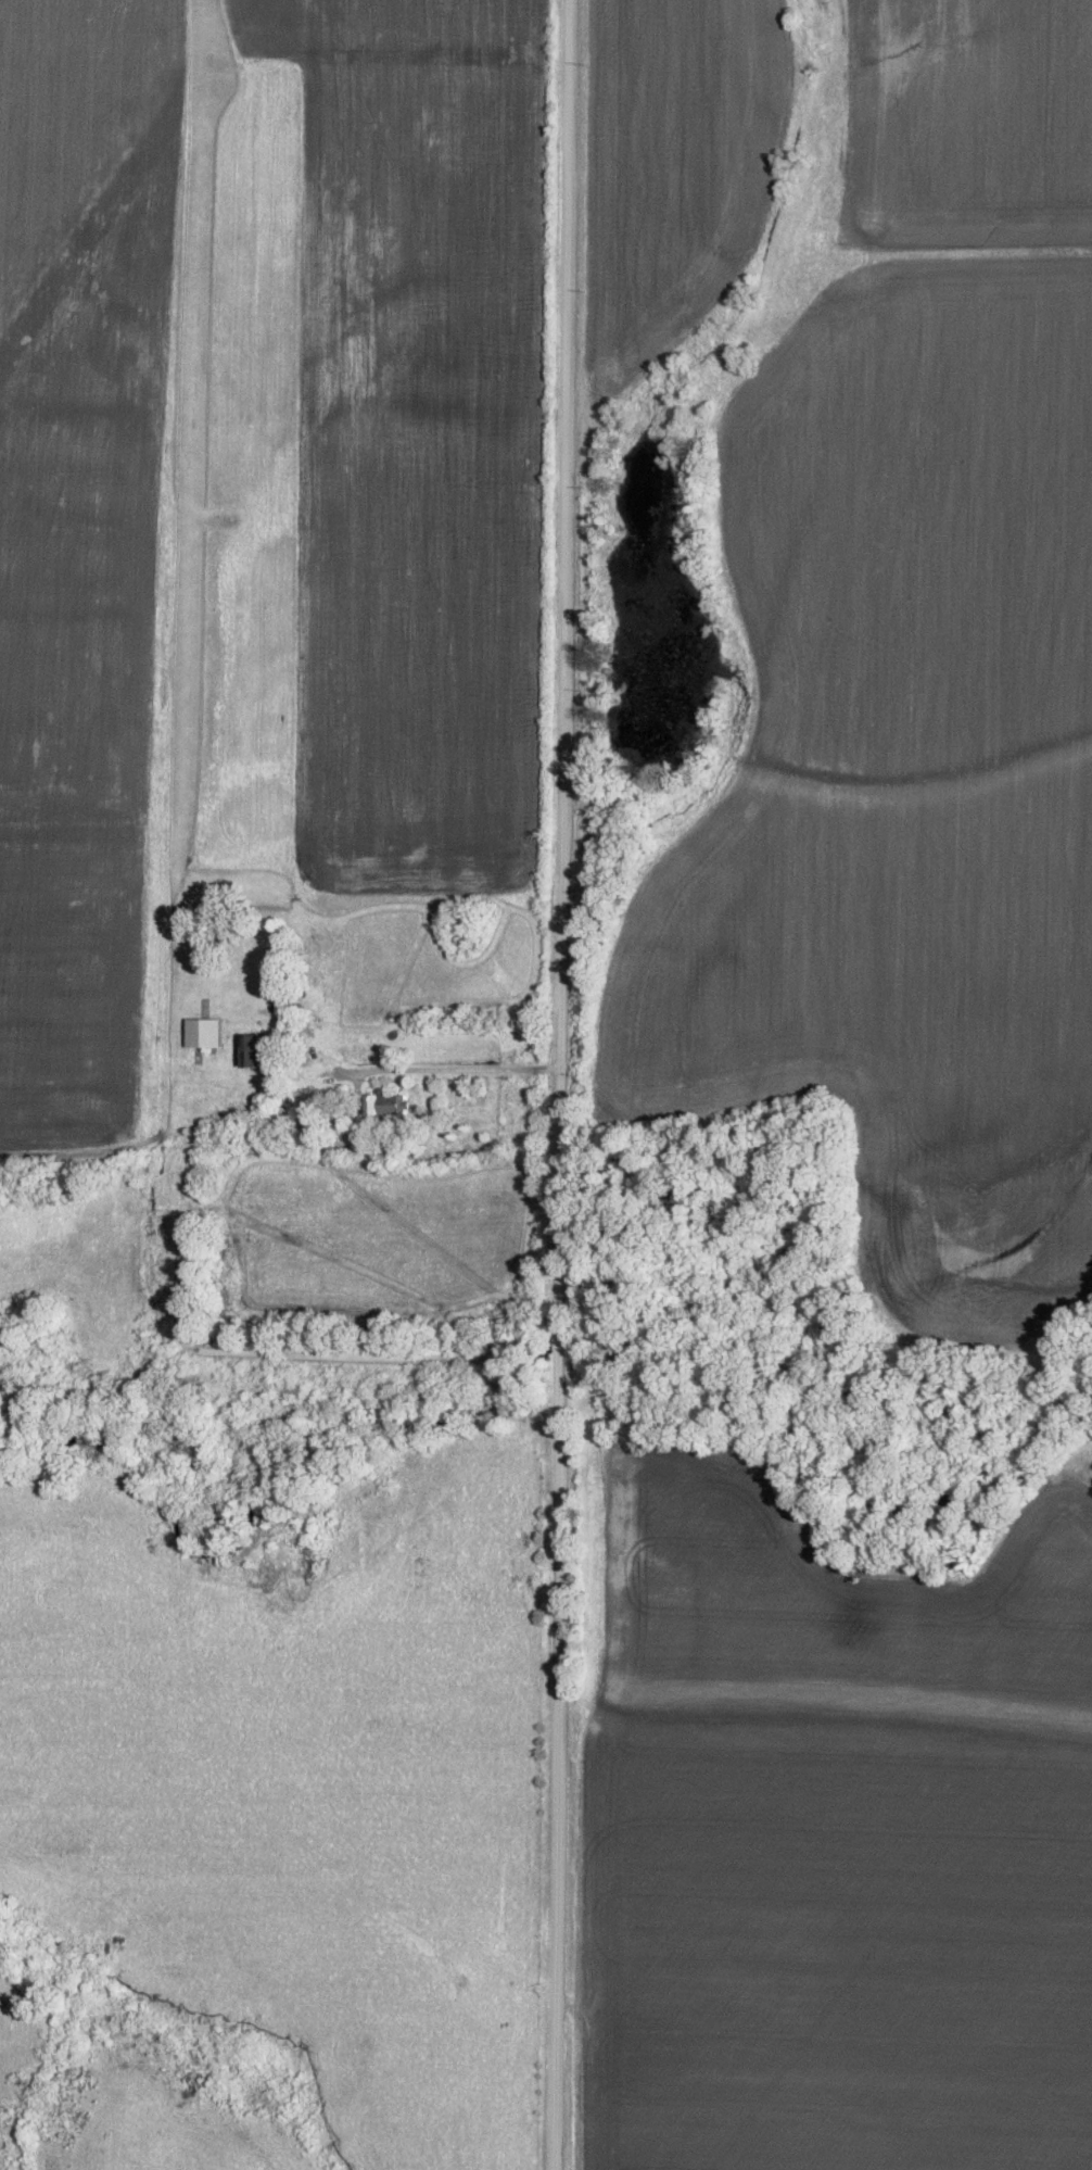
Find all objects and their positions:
airport runway: (124, 181)
airport runway: (189, 497)
airport taxiway: (90, 834)
airport hangar: (201, 1034)
building: (201, 1034)
building: (255, 1047)
road: (423, 1072)
road: (563, 1084)
building: (390, 1101)

